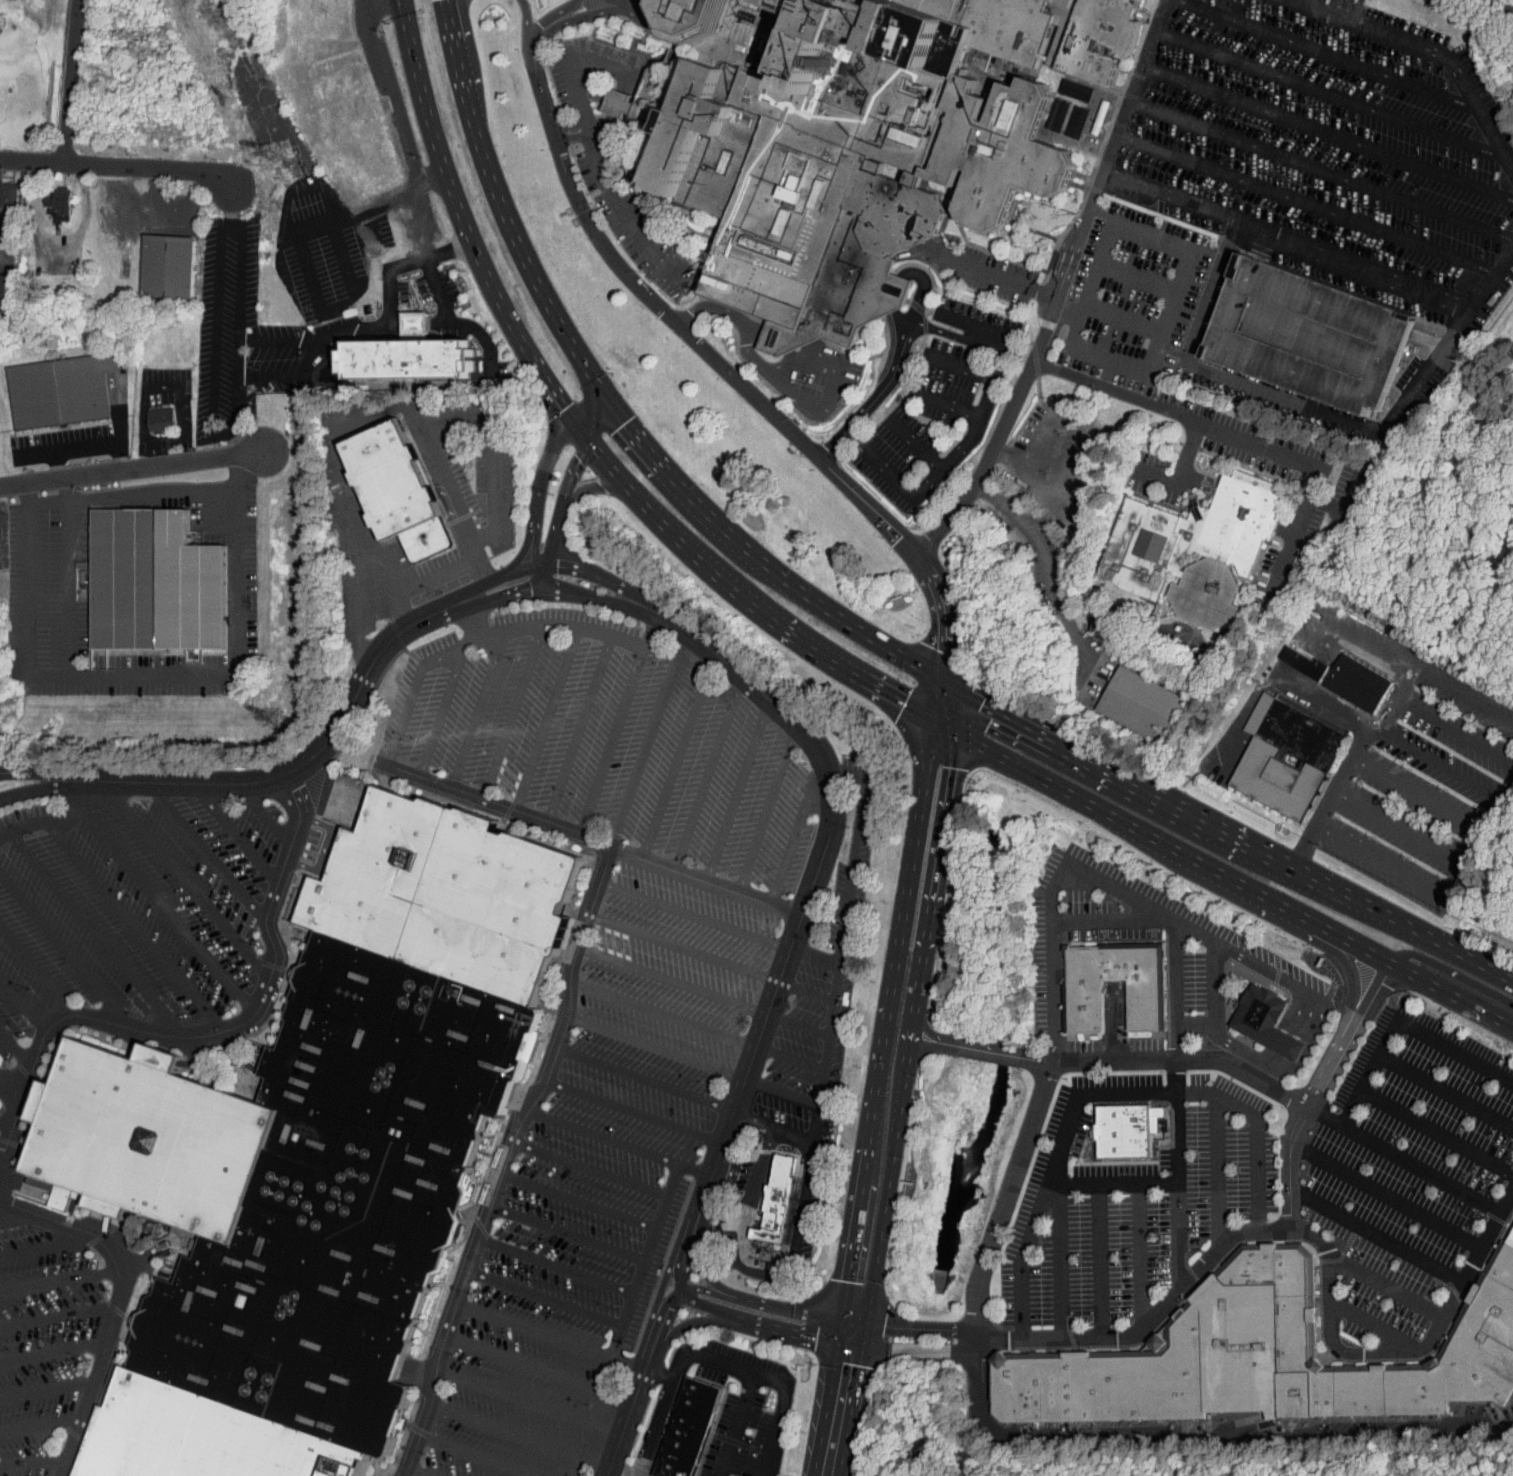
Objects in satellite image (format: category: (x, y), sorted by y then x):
road: (1306, 3)
road: (1501, 10)
road: (1324, 12)
road: (544, 20)
road: (568, 20)
road: (653, 25)
road: (526, 27)
road: (1325, 53)
road: (566, 66)
road: (1453, 69)
road: (72, 80)
road: (1327, 92)
building: (606, 98)
building: (17, 110)
road: (566, 128)
road: (1327, 133)
road: (570, 137)
building: (861, 139)
power tower: (280, 152)
road: (118, 164)
parking lot: (1283, 168)
road: (1321, 168)
building: (2, 189)
building: (47, 193)
road: (1305, 202)
road: (229, 204)
road: (624, 208)
road: (608, 219)
road: (462, 226)
road: (1152, 236)
road: (1285, 241)
building: (168, 267)
road: (906, 273)
road: (1000, 276)
road: (1137, 277)
road: (1491, 279)
road: (634, 283)
road: (1091, 284)
road: (1056, 286)
building: (6, 292)
road: (1166, 312)
road: (385, 320)
road: (1120, 322)
road: (238, 326)
road: (982, 328)
road: (1056, 328)
road: (350, 330)
road: (214, 336)
building: (1319, 339)
parking garage: (1319, 339)
road: (312, 350)
road: (1168, 354)
building: (406, 358)
road: (1106, 360)
road: (963, 366)
building: (59, 392)
road: (877, 397)
road: (1283, 397)
road: (609, 402)
traffic signals: (563, 405)
road: (954, 405)
building: (149, 413)
road: (447, 416)
road: (595, 417)
building: (163, 420)
traffic signals: (626, 424)
road: (973, 433)
road: (243, 442)
road: (916, 444)
road: (78, 447)
road: (1268, 448)
traffic signals: (574, 454)
road: (1190, 454)
road: (56, 463)
road: (543, 465)
road: (128, 468)
road: (592, 486)
building: (397, 490)
road: (129, 494)
road: (562, 498)
road: (534, 544)
road: (565, 545)
building: (1199, 551)
road: (521, 552)
road: (914, 555)
road: (1046, 564)
road: (519, 570)
road: (69, 575)
road: (603, 579)
building: (153, 583)
road: (417, 583)
road: (565, 584)
road: (518, 588)
road: (467, 593)
road: (516, 595)
road: (744, 596)
road: (627, 607)
road: (471, 622)
road: (672, 622)
road: (566, 627)
road: (1302, 632)
traffic signals: (943, 650)
building: (1290, 655)
road: (150, 675)
building: (1347, 677)
road: (410, 698)
traffic signals: (905, 701)
road: (943, 702)
traffic signals: (983, 704)
building: (1145, 705)
road: (476, 709)
road: (1379, 709)
road: (440, 713)
road: (509, 713)
road: (1346, 713)
power tower: (279, 719)
road: (548, 719)
road: (580, 727)
road: (611, 739)
road: (646, 739)
parking lot: (607, 740)
road: (815, 747)
road: (676, 756)
building: (1291, 758)
road: (303, 762)
road: (1435, 762)
traffic signals: (942, 767)
road: (11, 771)
road: (11, 772)
road: (708, 774)
road: (61, 775)
road: (49, 787)
road: (1506, 787)
road: (736, 790)
road: (330, 794)
road: (8, 796)
road: (498, 803)
road: (1178, 807)
road: (768, 809)
road: (263, 815)
road: (40, 819)
road: (233, 830)
road: (796, 832)
road: (1168, 839)
road: (326, 850)
road: (205, 851)
road: (604, 865)
road: (183, 878)
road: (1058, 879)
road: (705, 881)
road: (1429, 890)
road: (157, 899)
parking lot: (130, 906)
road: (694, 917)
road: (1113, 920)
road: (132, 925)
road: (796, 933)
road: (96, 934)
road: (62, 949)
road: (684, 949)
road: (1446, 950)
road: (814, 959)
road: (36, 971)
road: (1497, 971)
road: (1453, 973)
road: (1497, 977)
road: (673, 981)
road: (1212, 984)
road: (806, 991)
road: (1453, 991)
road: (22, 1005)
building: (1084, 1005)
road: (663, 1013)
building: (1259, 1013)
road: (1401, 1021)
road: (905, 1022)
road: (1318, 1024)
road: (799, 1025)
road: (1193, 1027)
road: (205, 1034)
road: (657, 1048)
road: (16, 1049)
road: (1228, 1053)
road: (790, 1058)
road: (1110, 1062)
road: (749, 1073)
road: (647, 1077)
road: (12, 1081)
road: (1319, 1087)
road: (819, 1089)
road: (782, 1092)
road: (1444, 1092)
road: (10, 1095)
road: (522, 1097)
road: (1175, 1103)
road: (636, 1111)
road: (7, 1118)
road: (748, 1121)
building: (1125, 1131)
road: (1435, 1131)
road: (1256, 1132)
road: (786, 1133)
road: (620, 1143)
building: (315, 1152)
road: (1, 1153)
road: (1402, 1160)
road: (1051, 1168)
road: (590, 1169)
road: (1217, 1172)
road: (501, 1173)
parking lot: (600, 1179)
road: (1112, 1181)
road: (25, 1185)
building: (765, 1195)
building: (777, 1198)
road: (1386, 1198)
road: (1006, 1199)
road: (579, 1201)
road: (70, 1211)
road: (19, 1218)
road: (568, 1233)
road: (1377, 1236)
road: (694, 1238)
road: (1317, 1239)
building: (1511, 1239)
road: (684, 1243)
road: (47, 1246)
road: (157, 1251)
road: (1139, 1253)
road: (699, 1254)
road: (1060, 1259)
road: (1098, 1259)
road: (645, 1261)
road: (557, 1264)
road: (664, 1278)
road: (58, 1280)
road: (1382, 1283)
road: (680, 1287)
road: (707, 1291)
road: (546, 1297)
road: (114, 1304)
road: (712, 1310)
road: (792, 1310)
road: (56, 1320)
road: (735, 1322)
traffic signals: (851, 1322)
road: (1374, 1324)
road: (654, 1326)
road: (914, 1327)
road: (661, 1330)
road: (848, 1334)
road: (550, 1335)
parking lot: (43, 1339)
traffic signals: (846, 1346)
road: (912, 1350)
road: (52, 1351)
road: (716, 1358)
building: (1261, 1360)
road: (538, 1368)
road: (657, 1373)
road: (416, 1377)
road: (47, 1387)
road: (528, 1400)
road: (833, 1411)
road: (623, 1422)
road: (40, 1424)
road: (736, 1424)
building: (689, 1428)
road: (1203, 1432)
road: (520, 1433)
road: (478, 1455)
park: (1226, 1460)
road: (33, 1462)
road: (406, 1472)
road: (420, 1472)
road: (614, 1473)

